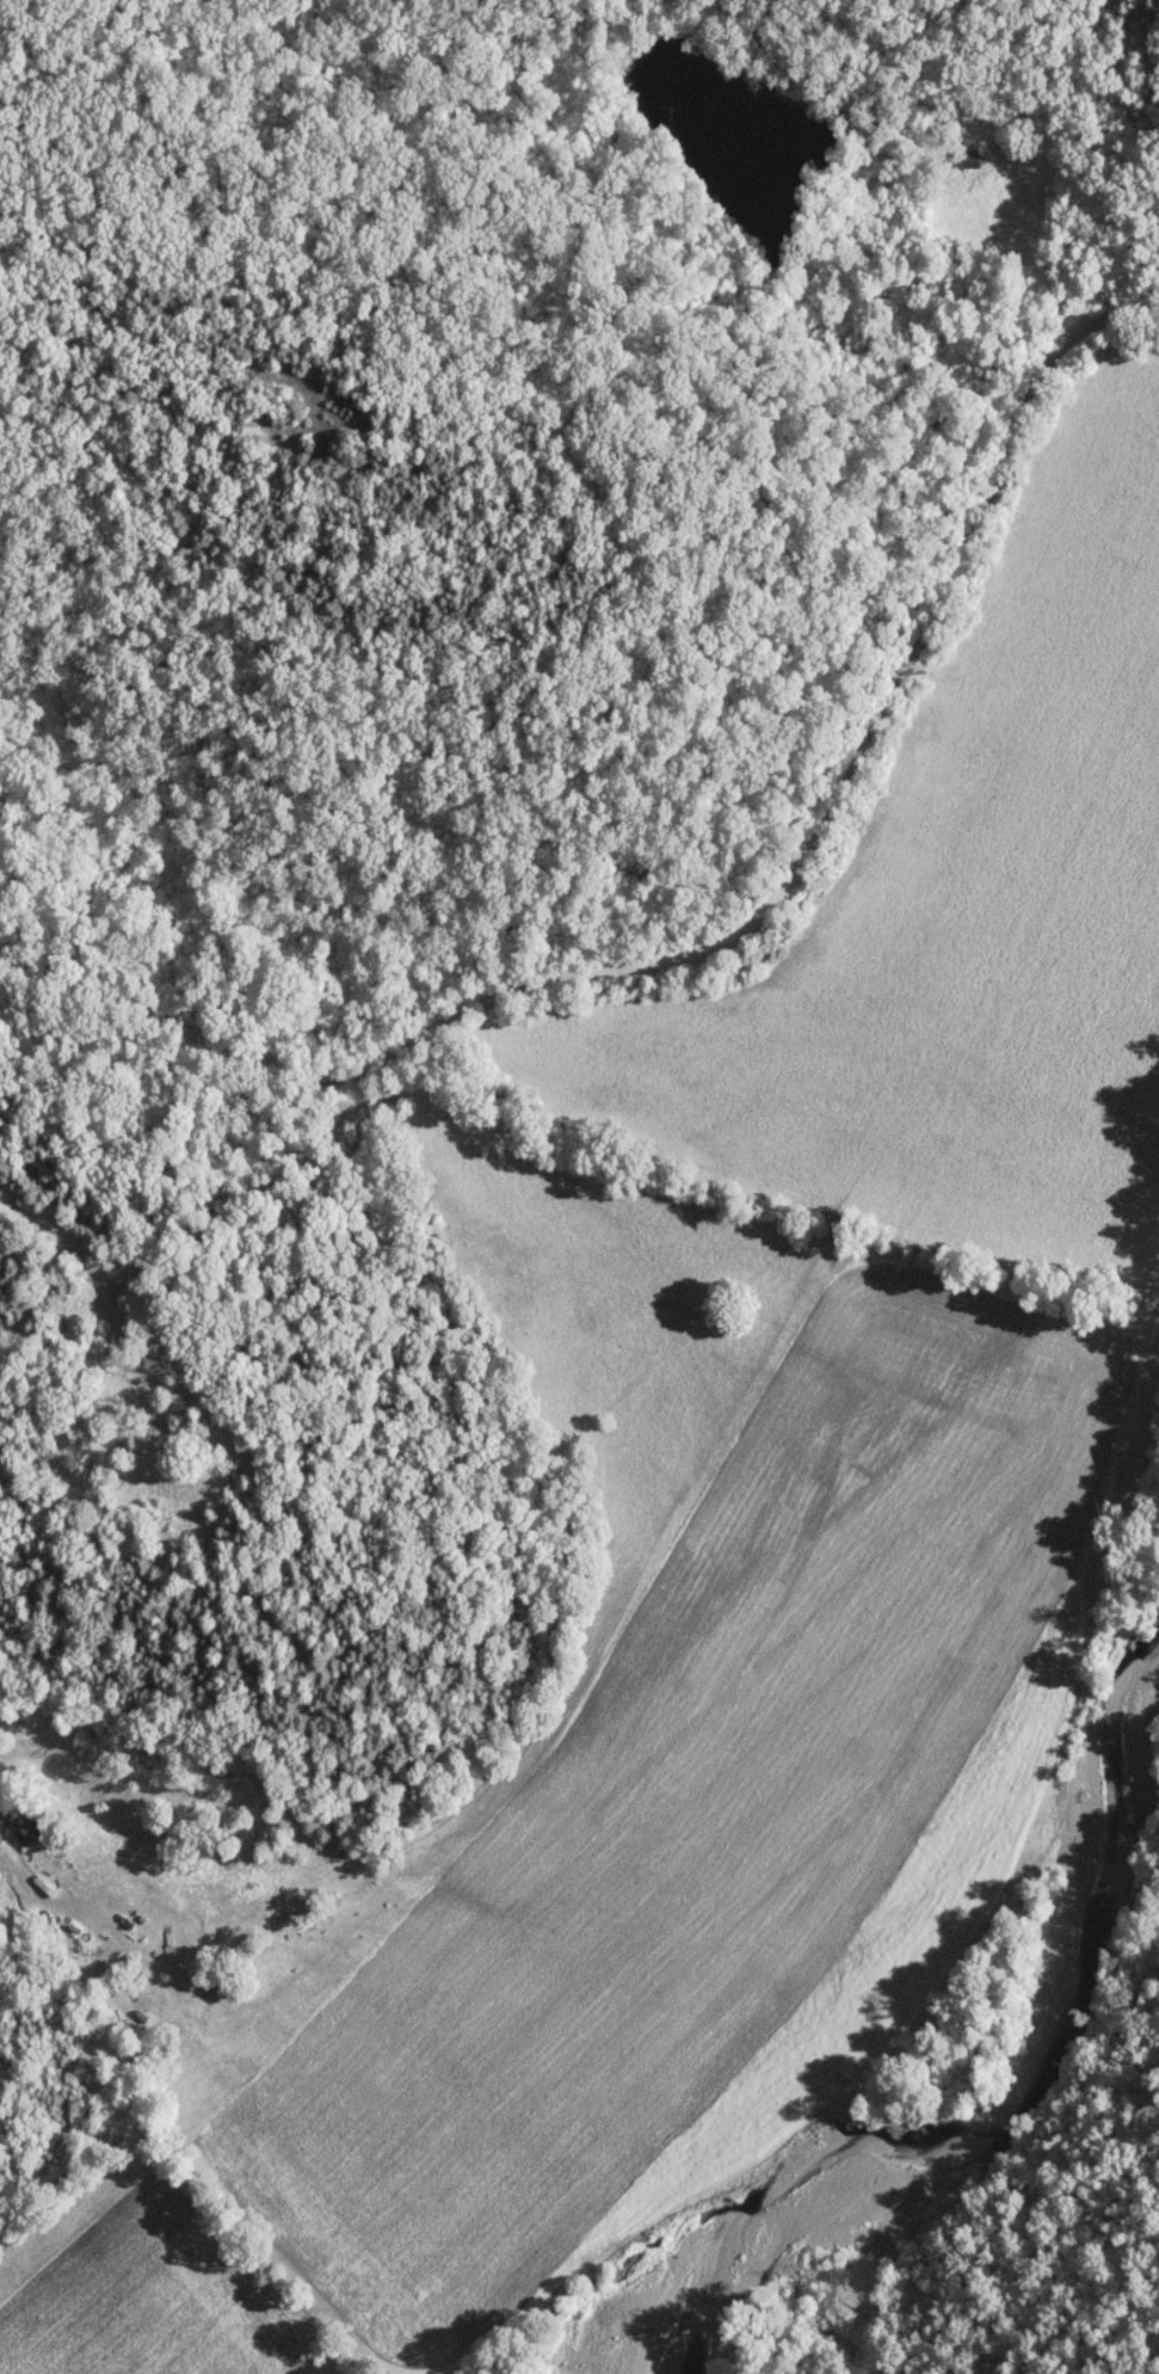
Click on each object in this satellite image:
road: (837, 801)
road: (159, 1021)
building: (17, 1821)

